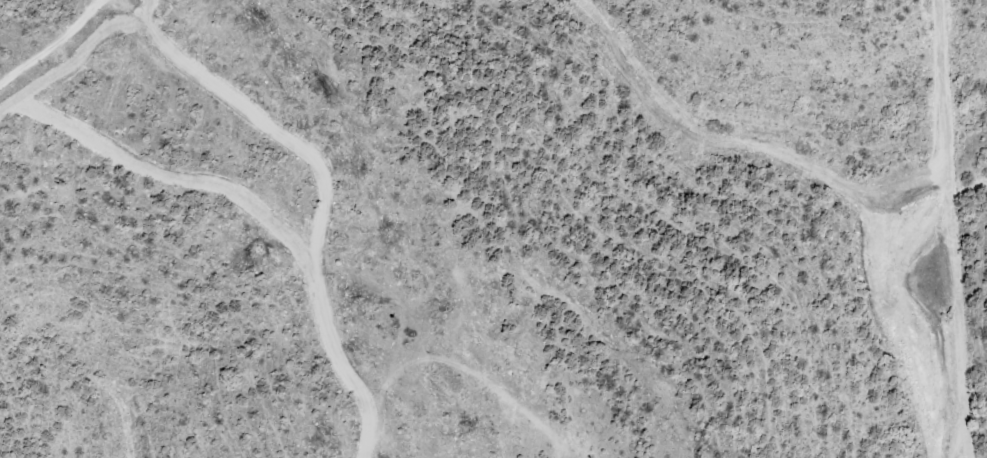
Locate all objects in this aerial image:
road: (53, 47)

